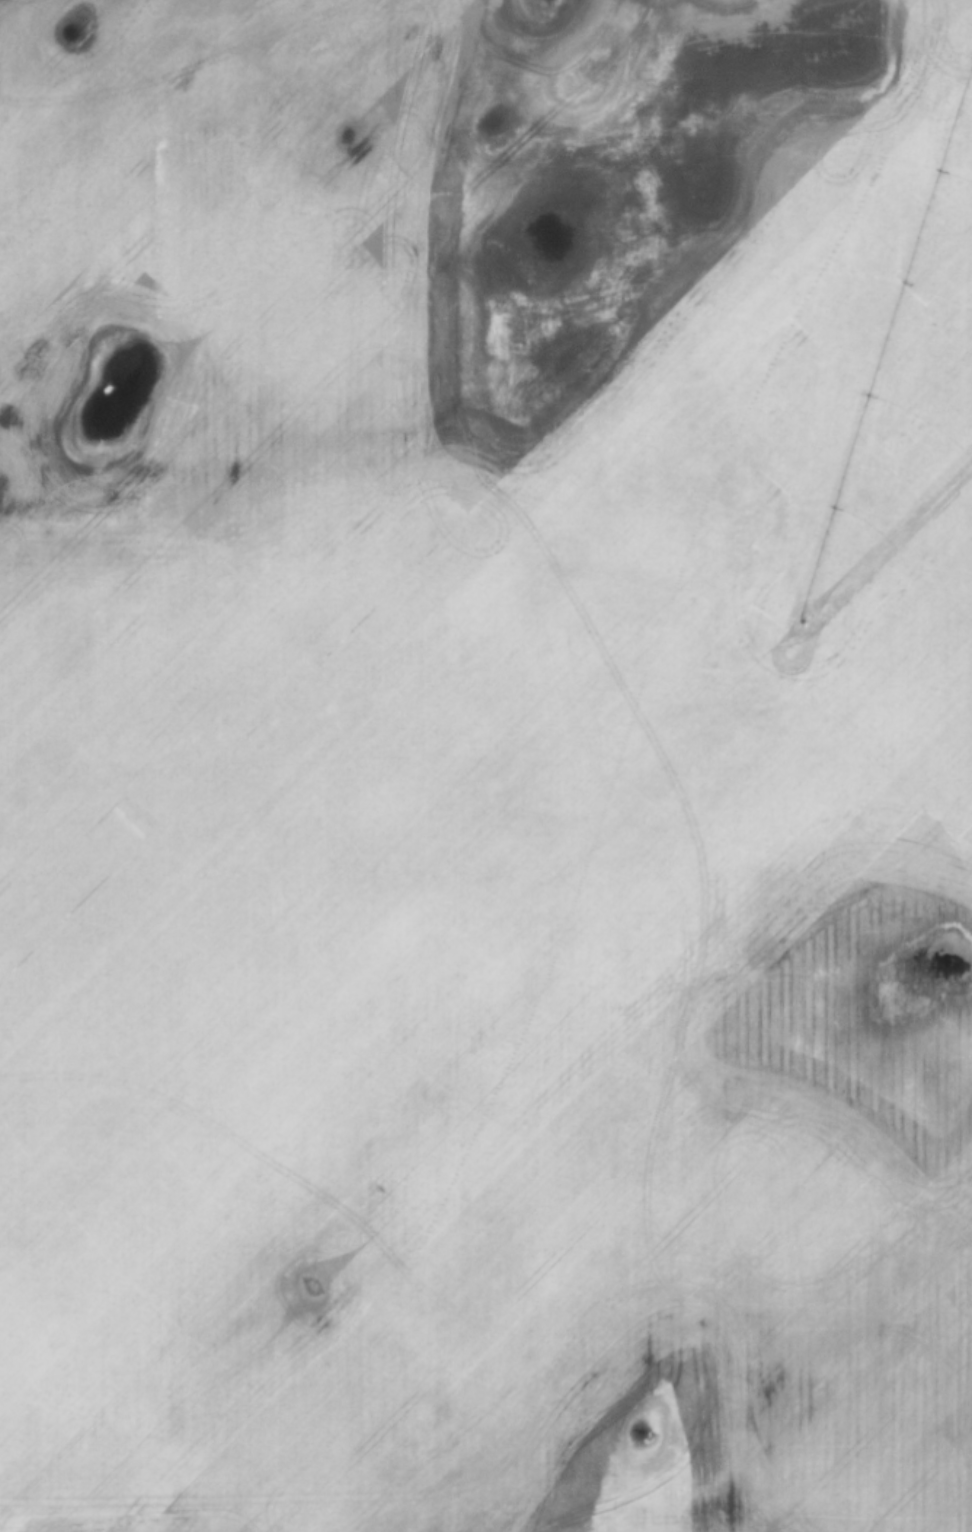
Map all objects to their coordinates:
road: (799, 310)

